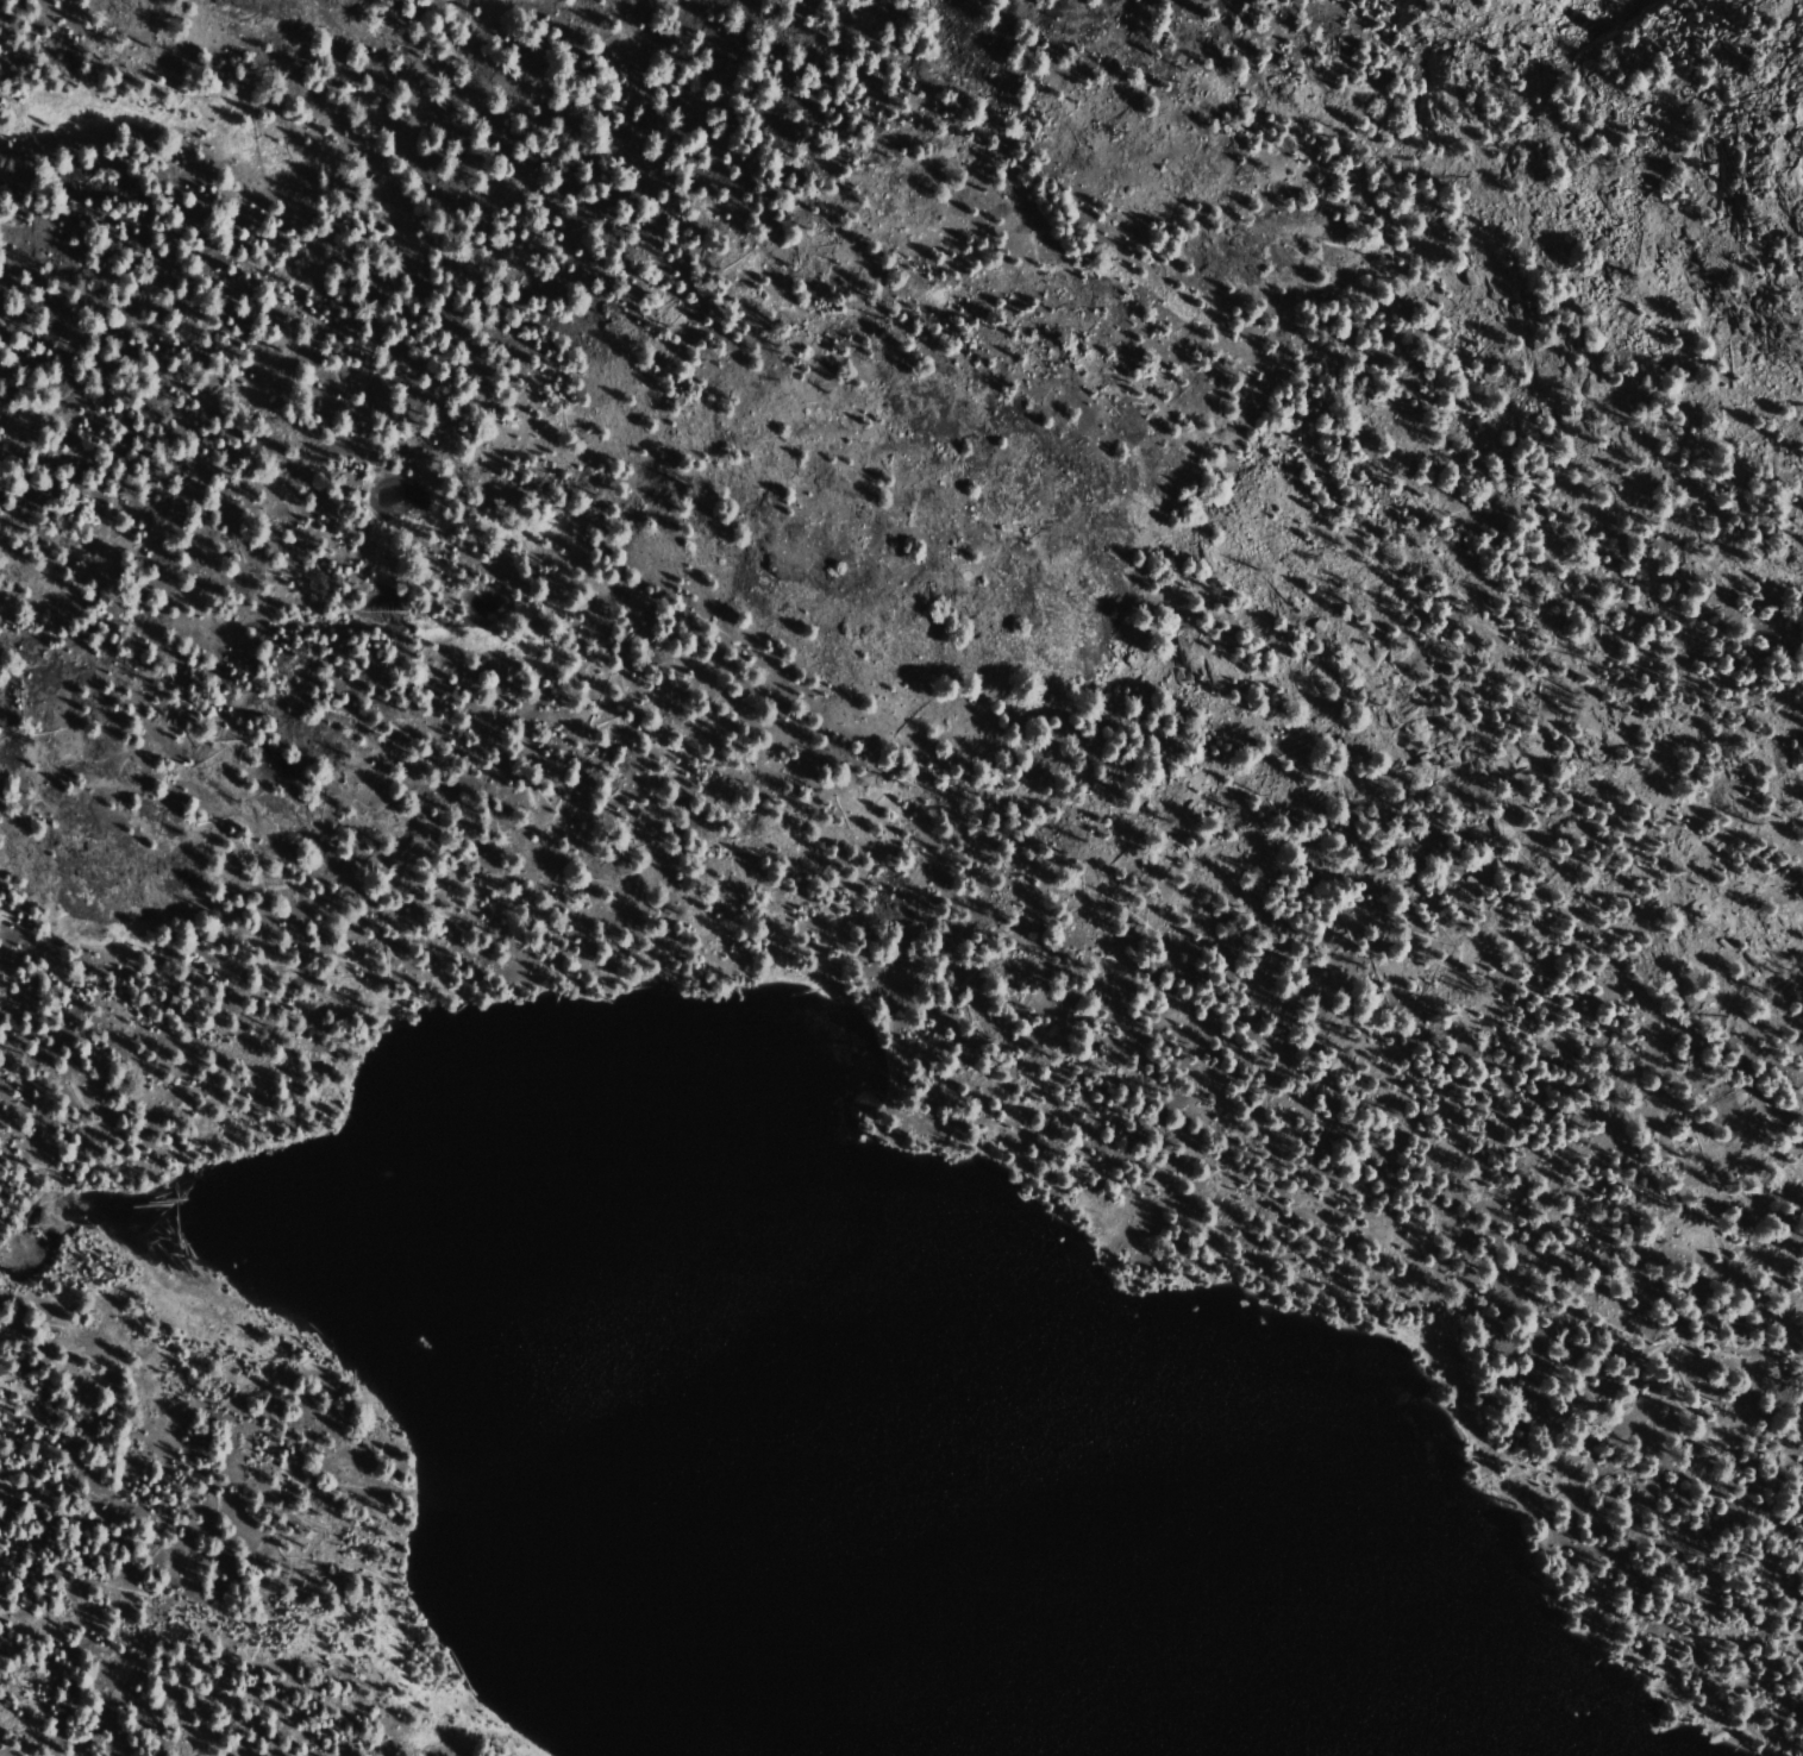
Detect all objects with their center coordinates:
road: (467, 491)
road: (188, 947)
road: (940, 1128)

